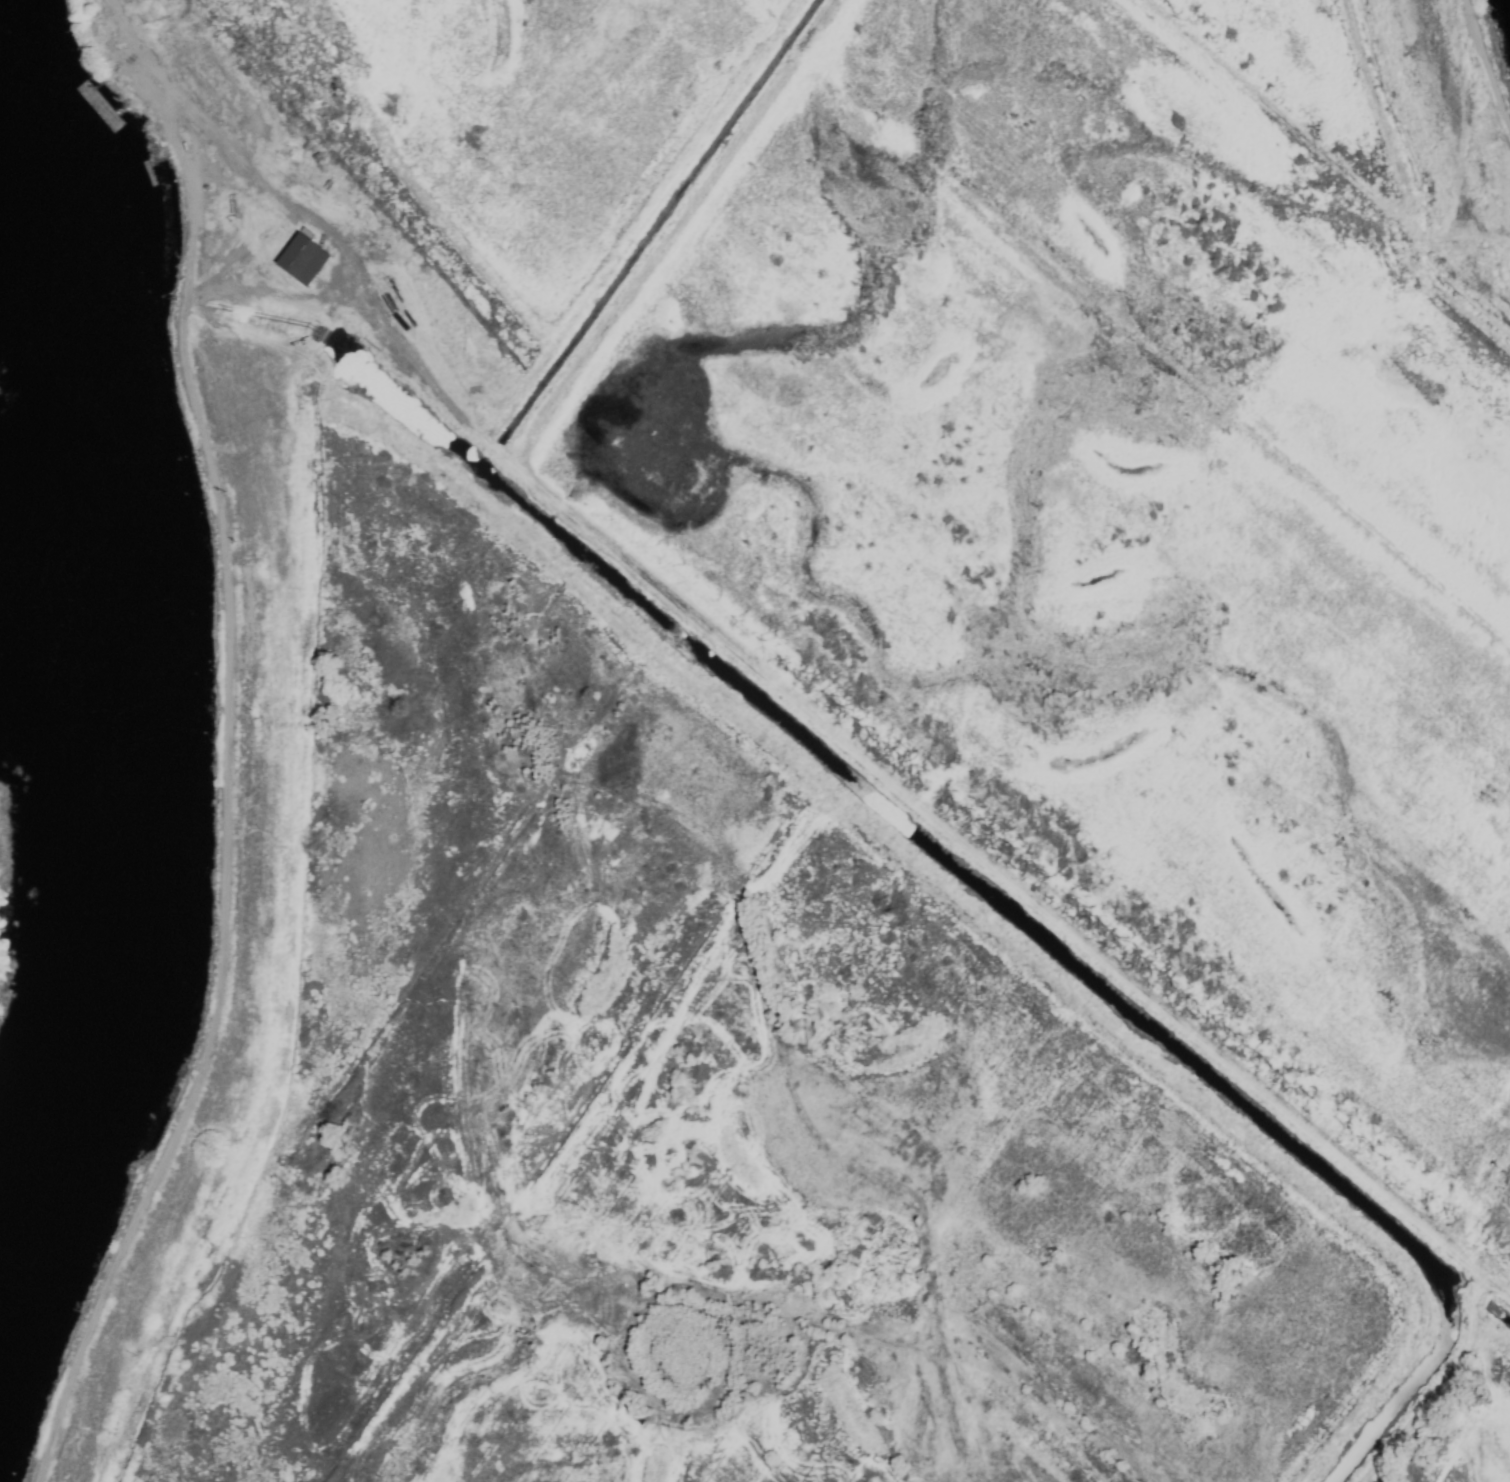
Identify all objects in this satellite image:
building: (89, 36)
building: (300, 261)
crop: (840, 743)

